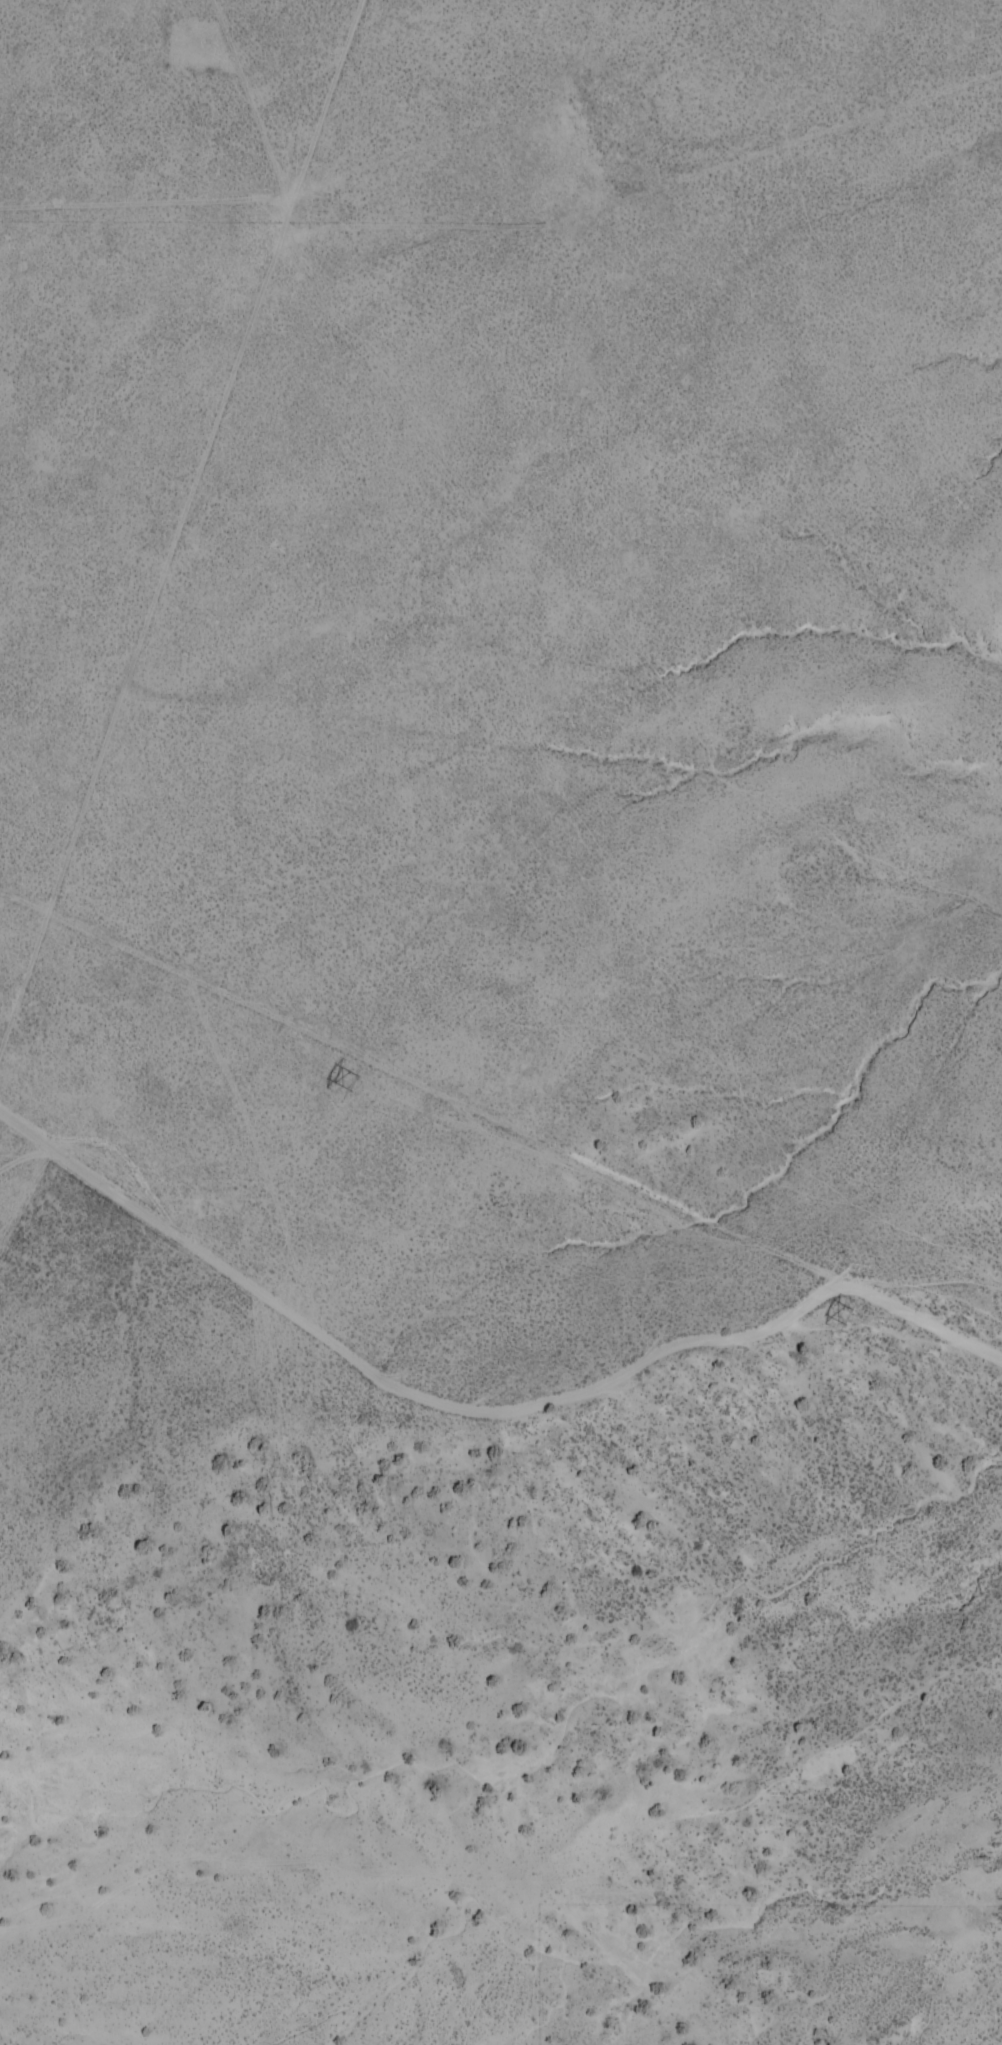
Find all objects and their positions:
road: (150, 207)
road: (178, 521)
power tower: (352, 1086)
power tower: (846, 1319)

